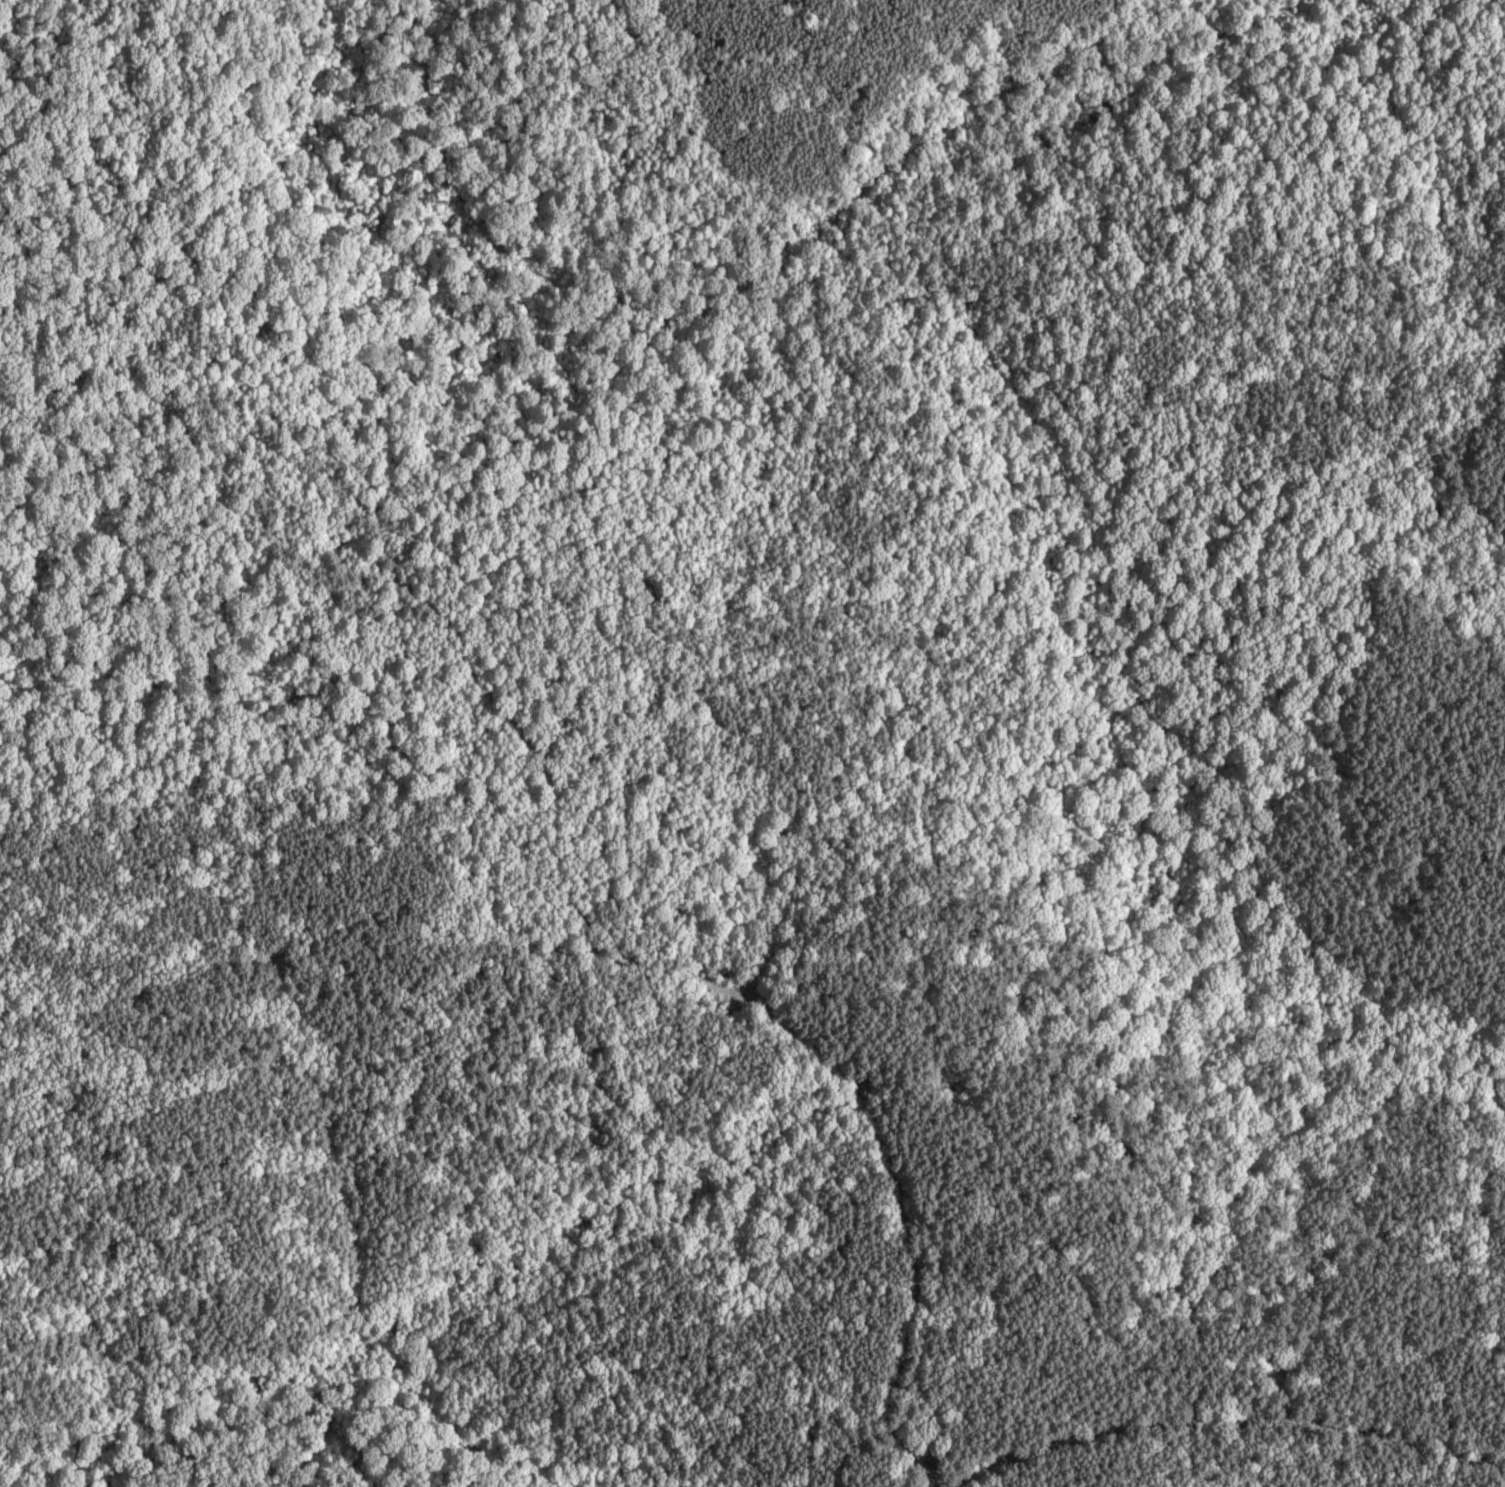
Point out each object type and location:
road: (1062, 1427)
road: (1342, 1448)

